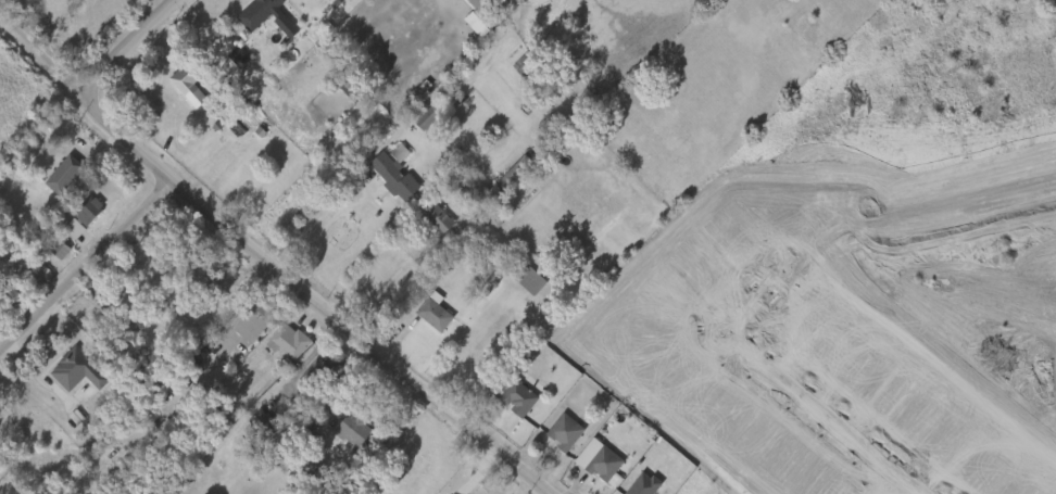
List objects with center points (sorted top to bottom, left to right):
building: (464, 4)
building: (493, 10)
building: (257, 14)
road: (126, 47)
building: (228, 61)
building: (531, 67)
building: (187, 76)
building: (186, 100)
building: (429, 116)
building: (416, 121)
building: (516, 170)
building: (67, 173)
building: (398, 173)
building: (83, 218)
building: (441, 219)
road: (318, 220)
building: (427, 220)
building: (63, 231)
building: (50, 252)
road: (271, 262)
road: (87, 269)
building: (530, 279)
building: (520, 283)
building: (436, 312)
building: (424, 316)
building: (260, 320)
building: (242, 327)
building: (289, 341)
building: (77, 369)
building: (320, 369)
building: (521, 397)
building: (508, 401)
building: (264, 425)
building: (253, 427)
building: (355, 431)
building: (568, 432)
building: (554, 435)
building: (589, 463)
building: (606, 464)
building: (298, 467)
road: (473, 469)

